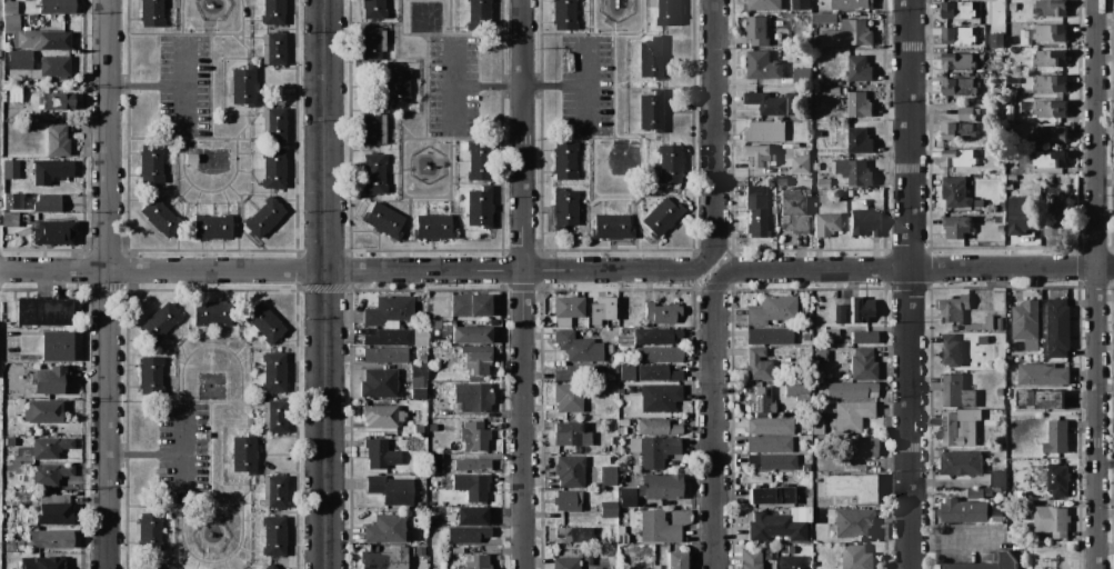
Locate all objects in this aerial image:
building: (851, 4)
building: (764, 6)
building: (800, 6)
building: (56, 7)
building: (1012, 7)
building: (373, 9)
building: (1051, 9)
building: (957, 10)
building: (273, 12)
building: (670, 12)
building: (151, 13)
building: (479, 14)
building: (564, 14)
building: (823, 19)
building: (762, 29)
building: (32, 32)
building: (1050, 33)
building: (844, 36)
building: (957, 36)
building: (377, 40)
building: (997, 41)
building: (273, 49)
building: (20, 59)
building: (651, 59)
building: (1051, 59)
road: (183, 60)
building: (959, 62)
building: (54, 66)
building: (763, 67)
building: (859, 69)
building: (803, 77)
road: (519, 82)
road: (169, 83)
road: (585, 83)
road: (451, 84)
building: (1050, 84)
building: (243, 86)
building: (395, 87)
building: (957, 88)
building: (834, 91)
building: (12, 94)
building: (57, 100)
building: (773, 103)
building: (855, 106)
building: (1050, 109)
building: (651, 111)
building: (965, 113)
building: (273, 124)
building: (373, 129)
road: (716, 131)
building: (959, 131)
building: (766, 132)
building: (1051, 136)
building: (57, 140)
building: (860, 141)
building: (759, 157)
building: (190, 158)
building: (960, 159)
building: (565, 160)
building: (1050, 160)
building: (478, 161)
building: (670, 162)
building: (150, 164)
building: (800, 166)
building: (273, 168)
building: (816, 168)
building: (11, 169)
building: (49, 170)
building: (374, 172)
building: (854, 172)
building: (1011, 178)
building: (782, 182)
building: (824, 182)
building: (1010, 186)
building: (955, 193)
building: (11, 200)
building: (48, 202)
building: (479, 207)
building: (1002, 207)
building: (564, 208)
building: (756, 210)
building: (773, 210)
building: (795, 212)
building: (1021, 214)
building: (160, 217)
building: (263, 217)
building: (662, 218)
building: (10, 219)
building: (383, 220)
building: (863, 220)
building: (1054, 220)
building: (826, 223)
building: (213, 227)
building: (433, 227)
building: (611, 227)
building: (956, 228)
building: (1001, 229)
building: (53, 232)
road: (717, 269)
road: (917, 269)
road: (357, 270)
road: (315, 281)
road: (106, 283)
road: (324, 283)
road: (524, 283)
road: (909, 284)
road: (1095, 284)
building: (470, 305)
building: (953, 308)
building: (861, 309)
building: (389, 310)
building: (772, 310)
building: (839, 310)
building: (43, 311)
building: (569, 311)
building: (212, 312)
building: (662, 312)
building: (161, 321)
building: (1026, 321)
building: (263, 322)
building: (612, 322)
building: (988, 323)
building: (433, 325)
building: (1000, 325)
building: (1057, 329)
building: (831, 332)
building: (471, 335)
building: (655, 336)
building: (769, 336)
building: (394, 337)
building: (420, 337)
building: (805, 337)
building: (864, 337)
building: (982, 340)
building: (57, 346)
building: (578, 347)
building: (475, 348)
building: (950, 351)
building: (384, 355)
building: (659, 355)
building: (821, 356)
building: (476, 362)
building: (756, 363)
building: (863, 365)
building: (273, 371)
building: (580, 372)
building: (658, 372)
building: (150, 375)
building: (1042, 375)
building: (419, 377)
building: (49, 379)
building: (379, 383)
building: (796, 388)
building: (852, 389)
building: (955, 393)
building: (472, 397)
building: (659, 397)
building: (568, 398)
building: (761, 400)
building: (1042, 400)
building: (8, 407)
building: (43, 411)
building: (382, 415)
building: (274, 416)
building: (851, 416)
road: (715, 421)
building: (816, 425)
building: (770, 426)
road: (179, 427)
building: (658, 427)
building: (418, 428)
building: (622, 430)
building: (956, 431)
building: (568, 433)
building: (474, 436)
building: (1056, 438)
building: (10, 440)
building: (769, 443)
building: (862, 447)
building: (46, 448)
building: (654, 450)
road: (165, 452)
building: (244, 452)
building: (380, 453)
building: (613, 459)
building: (773, 461)
building: (434, 462)
building: (472, 465)
building: (962, 465)
building: (805, 466)
building: (622, 467)
building: (570, 471)
building: (50, 473)
building: (608, 476)
building: (997, 479)
building: (1055, 482)
building: (4, 486)
building: (472, 486)
building: (661, 486)
building: (850, 486)
building: (391, 489)
building: (274, 491)
building: (988, 493)
building: (772, 495)
building: (975, 495)
building: (626, 497)
building: (568, 500)
building: (53, 509)
building: (608, 509)
building: (963, 511)
building: (471, 516)
building: (879, 517)
building: (1051, 521)
building: (853, 522)
building: (780, 525)
building: (664, 526)
building: (385, 528)
building: (150, 532)
building: (589, 533)
building: (466, 535)
building: (273, 536)
building: (51, 538)
building: (420, 551)
building: (856, 558)
building: (1005, 558)
building: (383, 559)
building: (751, 559)
building: (676, 560)
building: (475, 561)
building: (42, 562)
building: (565, 562)
building: (790, 562)
building: (152, 567)
building: (270, 567)
building: (601, 568)
building: (639, 568)

